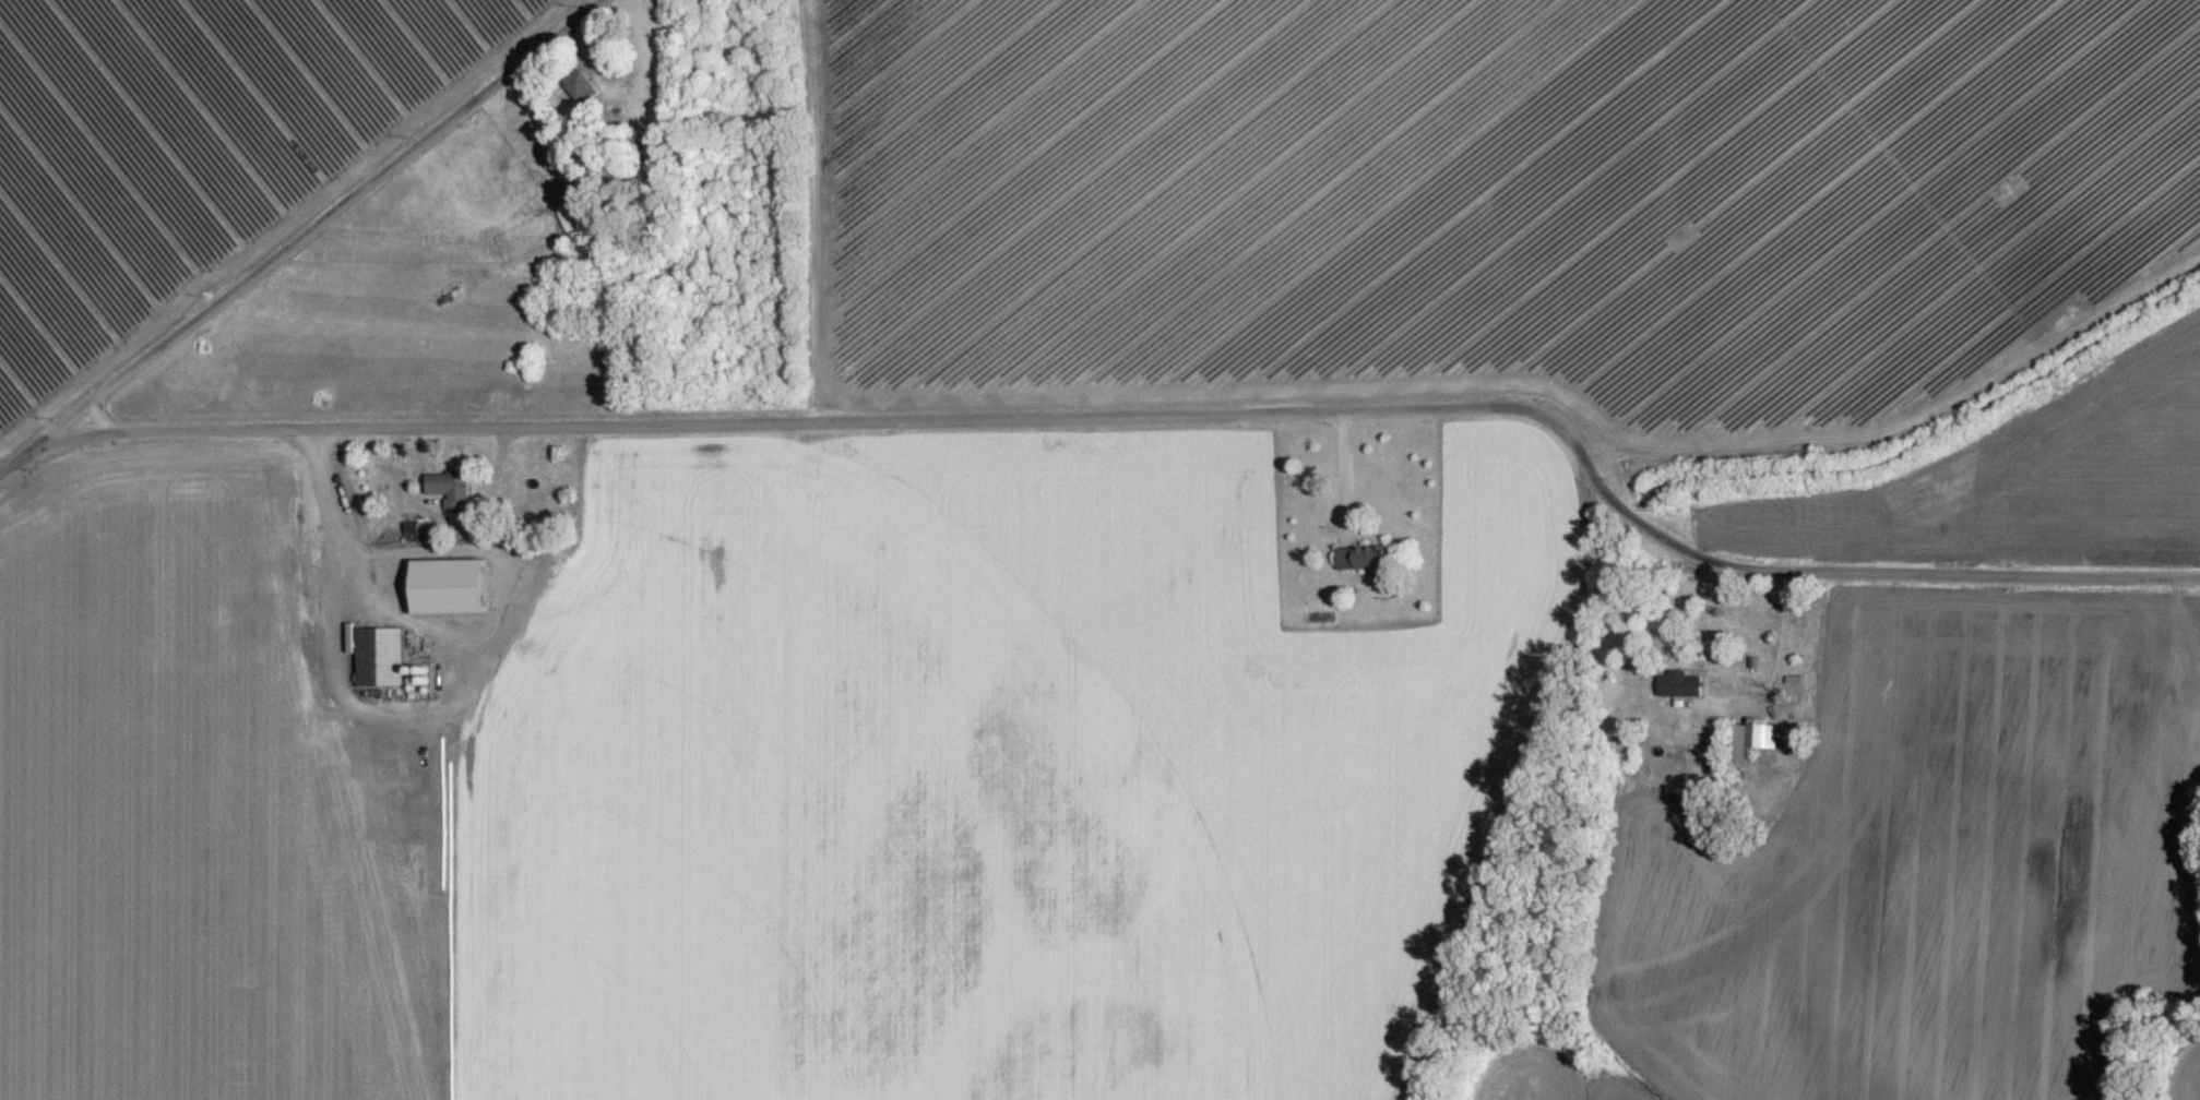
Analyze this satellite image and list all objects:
road: (299, 237)
road: (1164, 411)
road: (1344, 478)
building: (450, 498)
road: (335, 513)
building: (1360, 565)
building: (439, 612)
road: (1780, 643)
building: (380, 666)
building: (1679, 693)
building: (1747, 752)

